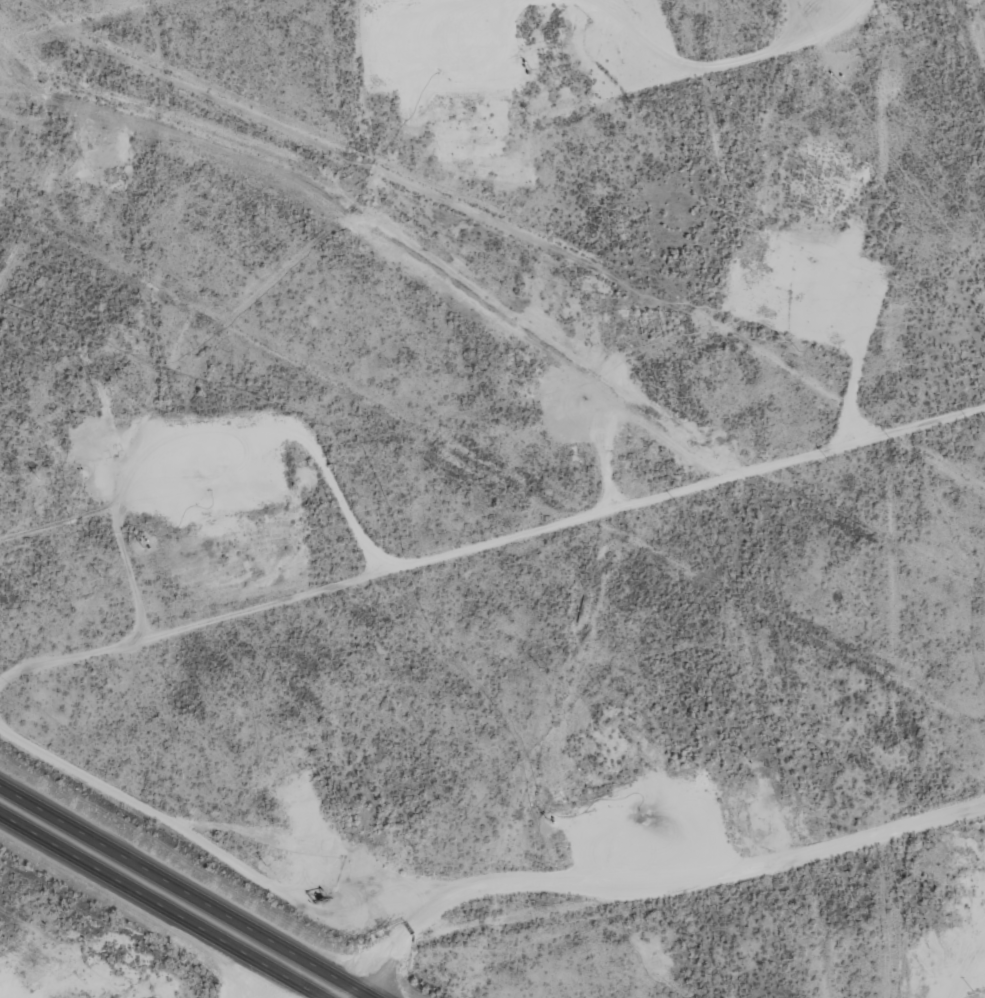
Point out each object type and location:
road: (981, 14)
road: (184, 892)
road: (158, 907)
road: (643, 914)

